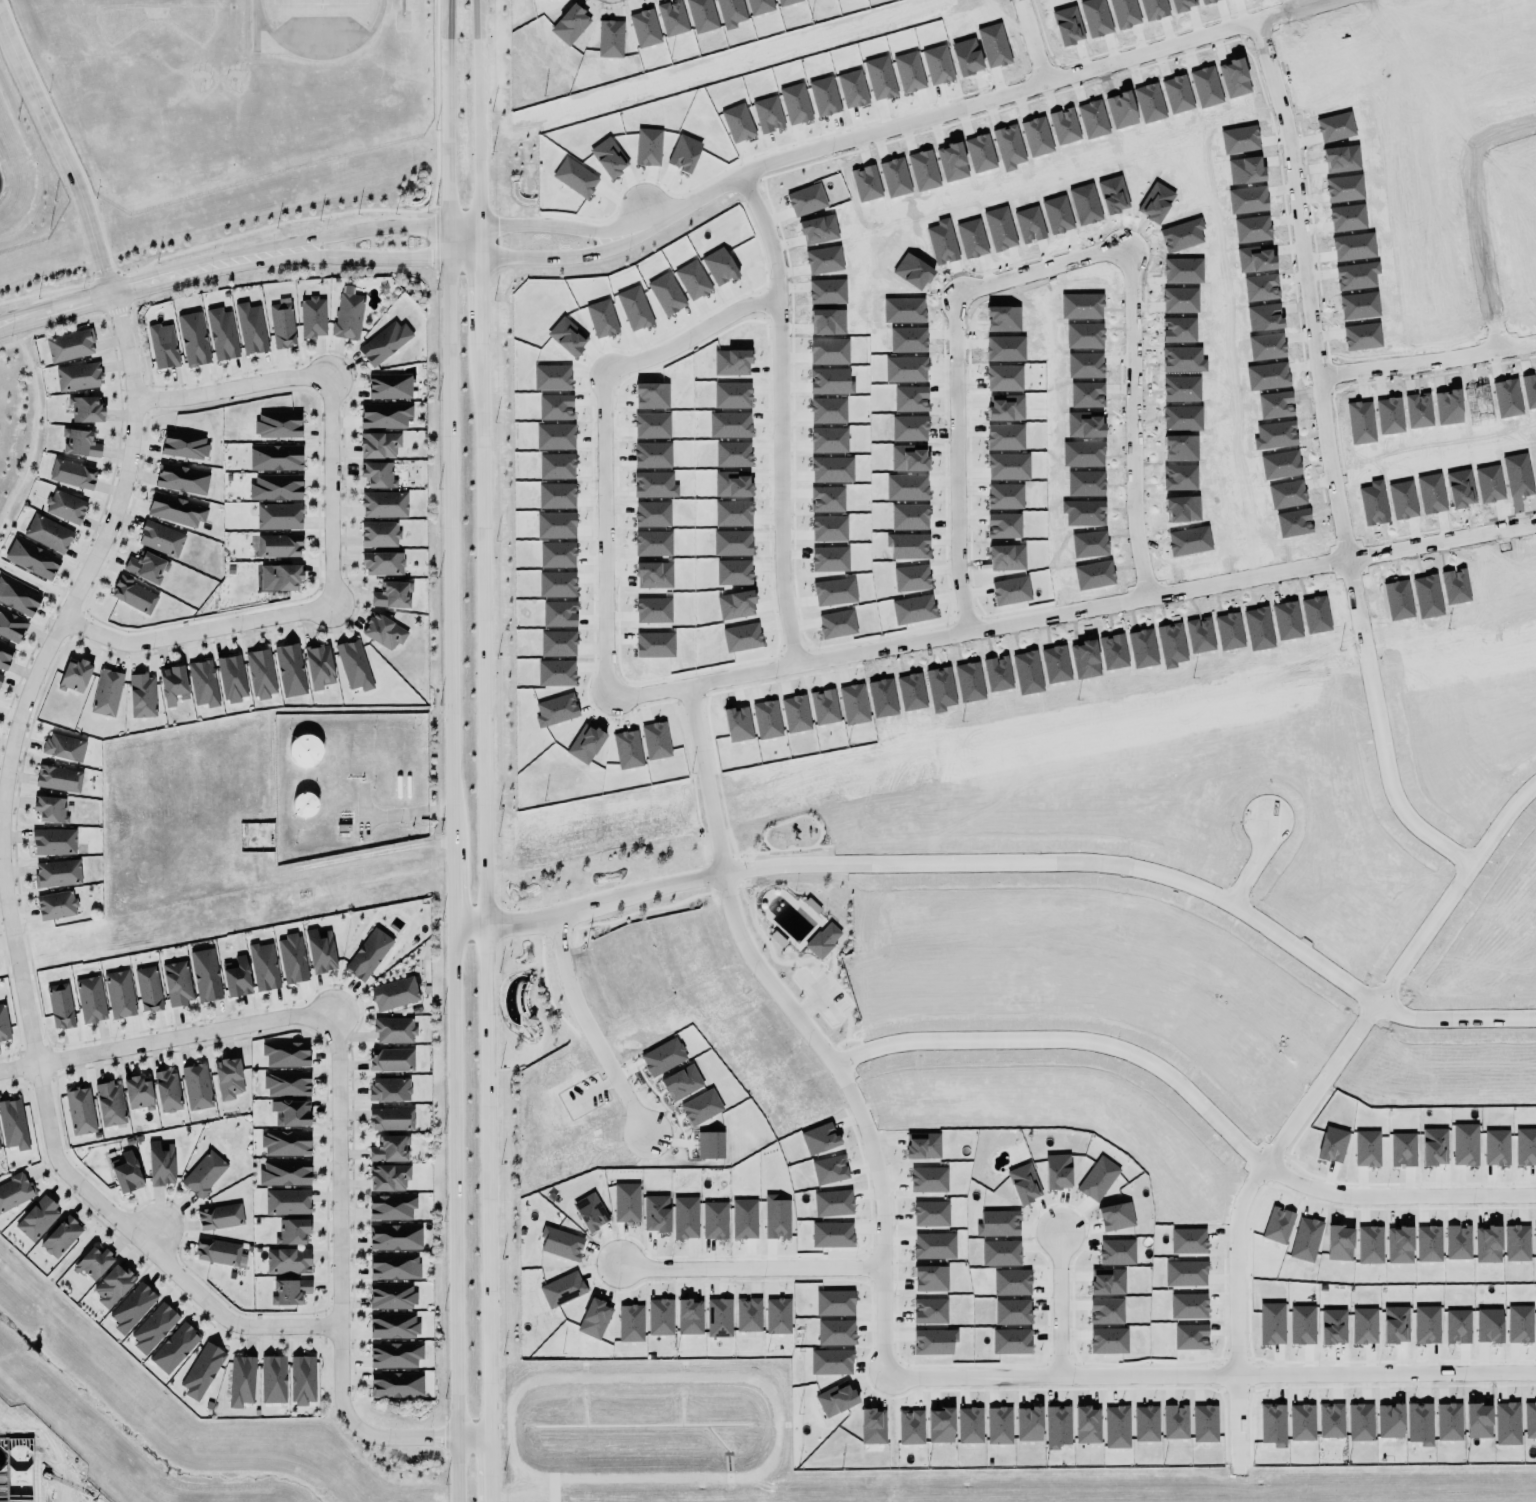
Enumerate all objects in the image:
road: (1293, 10)
track: (252, 30)
road: (1029, 43)
road: (953, 110)
road: (57, 161)
road: (1475, 216)
road: (462, 225)
road: (657, 227)
road: (370, 228)
road: (371, 258)
road: (462, 258)
road: (148, 282)
road: (1312, 286)
road: (1136, 314)
building: (346, 315)
building: (310, 316)
building: (281, 324)
road: (59, 325)
building: (247, 327)
building: (219, 332)
building: (190, 337)
building: (382, 341)
road: (9, 343)
building: (67, 344)
building: (160, 345)
road: (1430, 364)
building: (75, 375)
building: (388, 385)
road: (232, 388)
building: (82, 407)
building: (384, 415)
road: (785, 415)
building: (277, 425)
road: (33, 432)
road: (609, 441)
building: (79, 443)
building: (376, 443)
building: (183, 445)
building: (272, 456)
building: (69, 473)
building: (375, 473)
building: (179, 478)
building: (273, 486)
road: (331, 491)
road: (962, 491)
building: (381, 503)
building: (62, 505)
building: (173, 508)
building: (276, 515)
building: (45, 532)
building: (376, 533)
building: (160, 539)
road: (1441, 543)
building: (276, 544)
building: (31, 559)
building: (382, 564)
building: (143, 565)
building: (281, 576)
road: (30, 581)
building: (389, 593)
building: (130, 594)
road: (1162, 595)
building: (16, 596)
building: (10, 625)
building: (380, 630)
road: (196, 631)
road: (889, 647)
building: (4, 655)
building: (316, 664)
building: (351, 664)
building: (287, 668)
building: (260, 673)
building: (0, 675)
building: (74, 676)
building: (229, 676)
road: (711, 680)
building: (200, 682)
building: (170, 683)
building: (104, 691)
building: (139, 692)
road: (1378, 728)
building: (63, 747)
road: (452, 750)
road: (485, 750)
building: (303, 751)
building: (56, 777)
road: (710, 777)
building: (48, 808)
building: (53, 842)
road: (1070, 863)
road: (1254, 864)
building: (54, 872)
road: (5, 888)
road: (1453, 890)
building: (55, 905)
road: (591, 906)
building: (822, 940)
road: (2, 947)
building: (319, 951)
building: (365, 954)
building: (291, 958)
building: (261, 966)
building: (202, 974)
building: (236, 977)
building: (174, 982)
building: (147, 989)
building: (392, 992)
building: (116, 993)
building: (87, 998)
building: (58, 1003)
road: (1455, 1020)
building: (3, 1024)
building: (393, 1027)
road: (587, 1030)
road: (1067, 1038)
road: (165, 1040)
road: (1346, 1046)
building: (282, 1053)
building: (391, 1060)
building: (225, 1077)
building: (285, 1081)
building: (681, 1083)
building: (193, 1084)
building: (387, 1089)
building: (164, 1090)
building: (135, 1092)
building: (107, 1102)
road: (852, 1105)
building: (78, 1107)
building: (700, 1107)
building: (288, 1112)
building: (388, 1118)
building: (11, 1124)
road: (1288, 1126)
building: (819, 1138)
building: (283, 1141)
building: (709, 1145)
building: (922, 1145)
building: (387, 1147)
building: (157, 1162)
building: (829, 1170)
building: (282, 1171)
building: (1057, 1171)
building: (125, 1172)
building: (201, 1173)
building: (388, 1174)
building: (928, 1179)
building: (1097, 1179)
road: (1287, 1180)
building: (1021, 1183)
building: (13, 1190)
building: (287, 1202)
building: (626, 1202)
building: (832, 1203)
building: (388, 1206)
building: (589, 1212)
building: (655, 1213)
building: (930, 1213)
building: (36, 1216)
building: (217, 1216)
building: (1115, 1216)
building: (685, 1218)
building: (775, 1218)
building: (743, 1219)
building: (714, 1220)
building: (997, 1224)
building: (290, 1228)
building: (831, 1234)
building: (58, 1235)
building: (393, 1235)
building: (560, 1243)
building: (933, 1246)
building: (217, 1249)
building: (1116, 1251)
building: (1000, 1253)
building: (91, 1258)
building: (285, 1260)
building: (393, 1266)
road: (749, 1268)
building: (930, 1278)
building: (1011, 1282)
building: (1106, 1282)
building: (112, 1283)
building: (561, 1289)
road: (339, 1290)
building: (289, 1291)
building: (389, 1294)
building: (834, 1303)
road: (1057, 1305)
building: (132, 1306)
building: (929, 1311)
building: (1106, 1311)
building: (1011, 1312)
building: (748, 1315)
building: (777, 1316)
building: (660, 1317)
building: (688, 1317)
building: (718, 1317)
building: (594, 1319)
building: (630, 1323)
building: (1271, 1323)
building: (1426, 1324)
building: (1519, 1324)
building: (390, 1325)
building: (1301, 1325)
building: (1394, 1325)
building: (1332, 1326)
building: (1363, 1326)
building: (1456, 1326)
building: (1488, 1326)
building: (153, 1328)
building: (835, 1332)
building: (1108, 1340)
building: (934, 1341)
building: (1011, 1341)
building: (174, 1348)
building: (393, 1353)
building: (831, 1362)
building: (200, 1367)
building: (270, 1378)
building: (300, 1378)
road: (1211, 1379)
building: (241, 1381)
building: (395, 1384)
building: (835, 1399)
building: (1331, 1420)
building: (1530, 1420)
building: (1390, 1421)
building: (1477, 1421)
building: (1175, 1422)
building: (1301, 1422)
building: (1360, 1422)
building: (1448, 1422)
building: (1146, 1423)
building: (1204, 1423)
road: (1234, 1423)
building: (1419, 1423)
building: (1507, 1423)
building: (1028, 1424)
building: (1272, 1424)
building: (940, 1425)
building: (969, 1425)
building: (999, 1425)
building: (1086, 1425)
building: (872, 1426)
building: (910, 1427)
building: (1057, 1427)
building: (1116, 1427)

